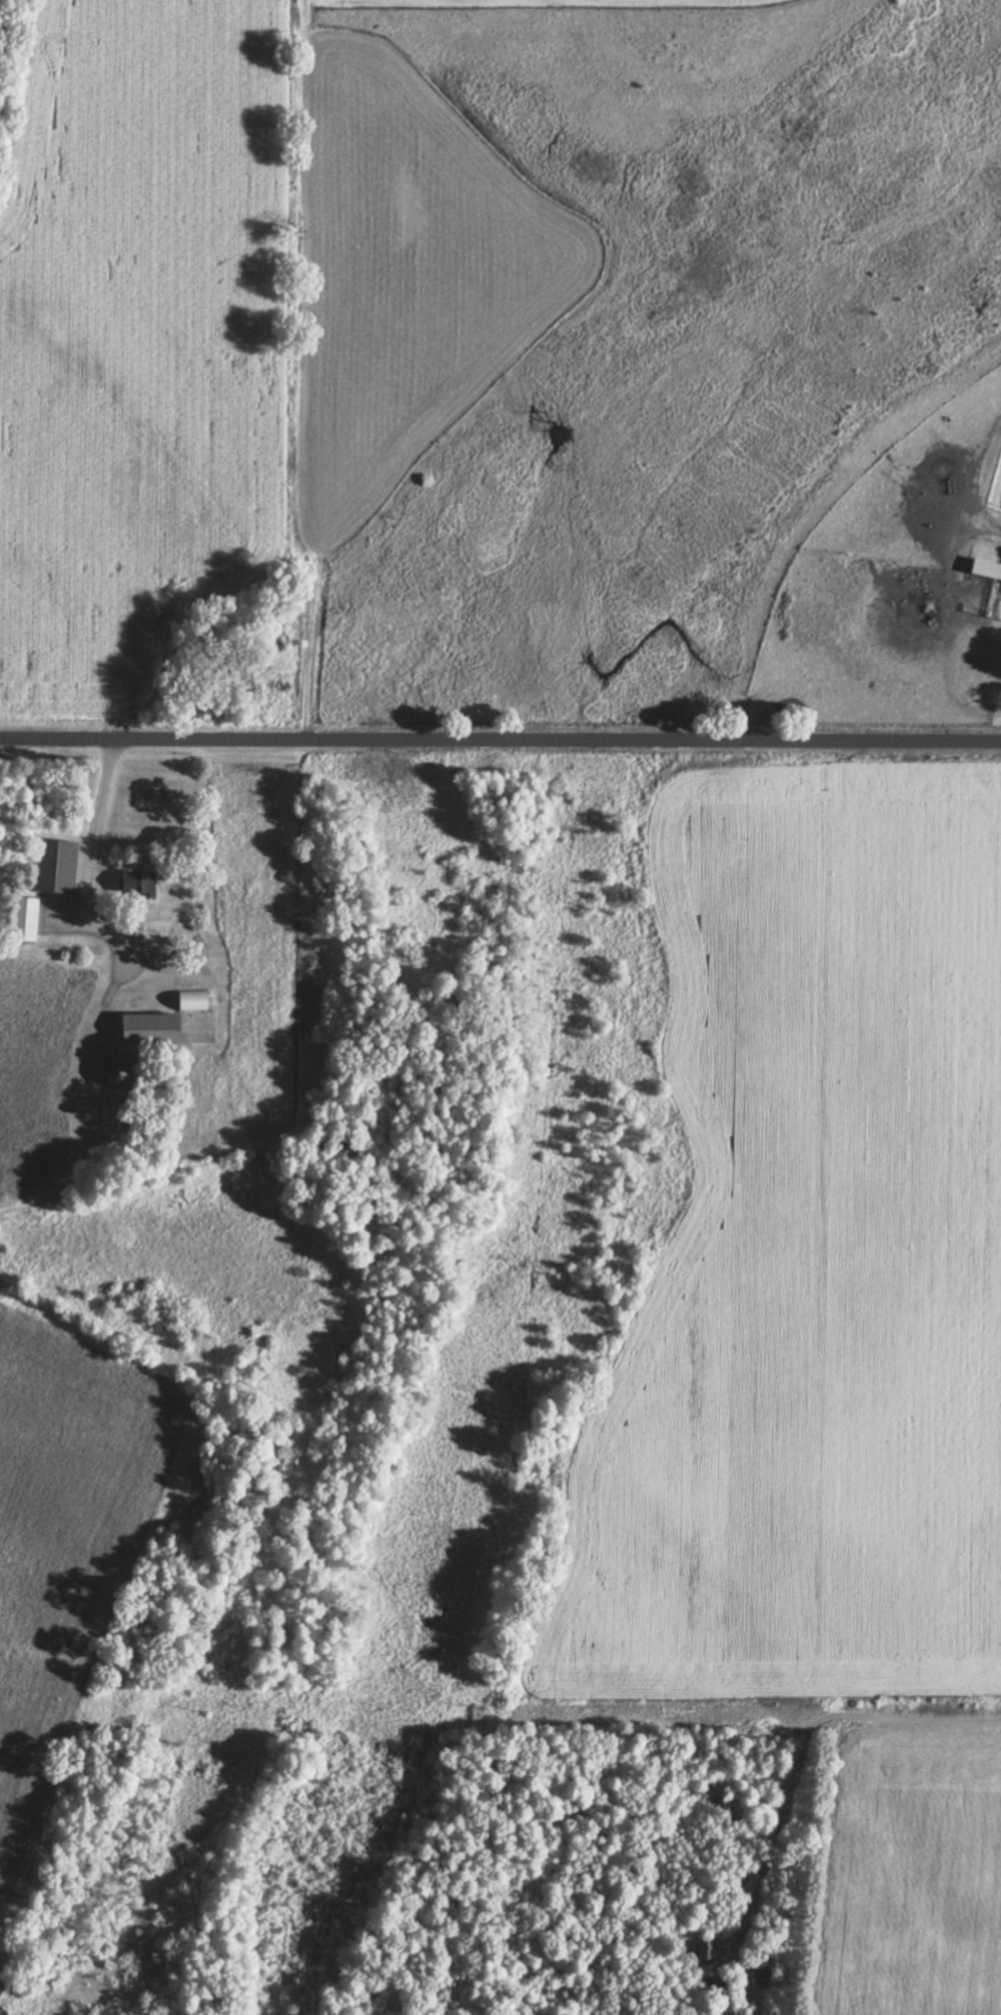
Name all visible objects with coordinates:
building: (984, 567)
road: (500, 735)
building: (51, 864)
building: (133, 882)
building: (21, 917)
building: (188, 998)
building: (145, 1028)
road: (800, 1746)

